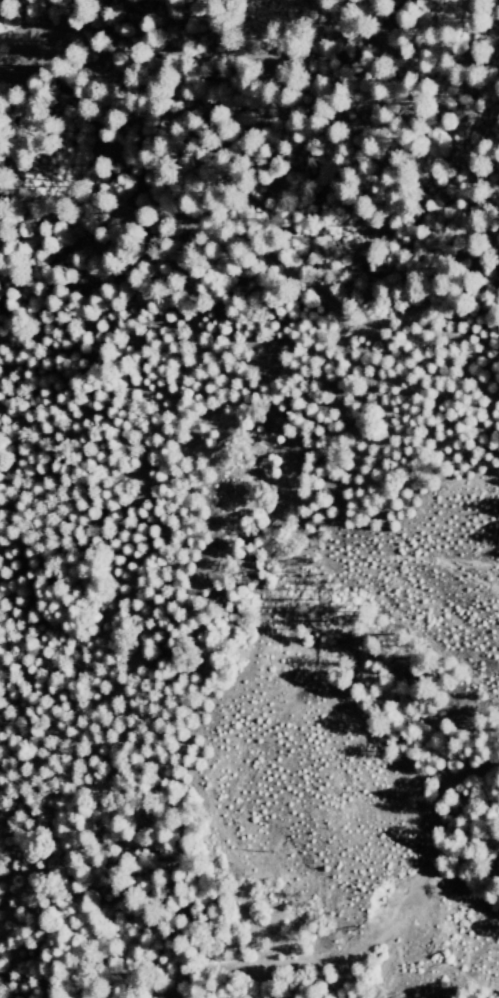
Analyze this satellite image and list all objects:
road: (208, 58)
road: (243, 219)

